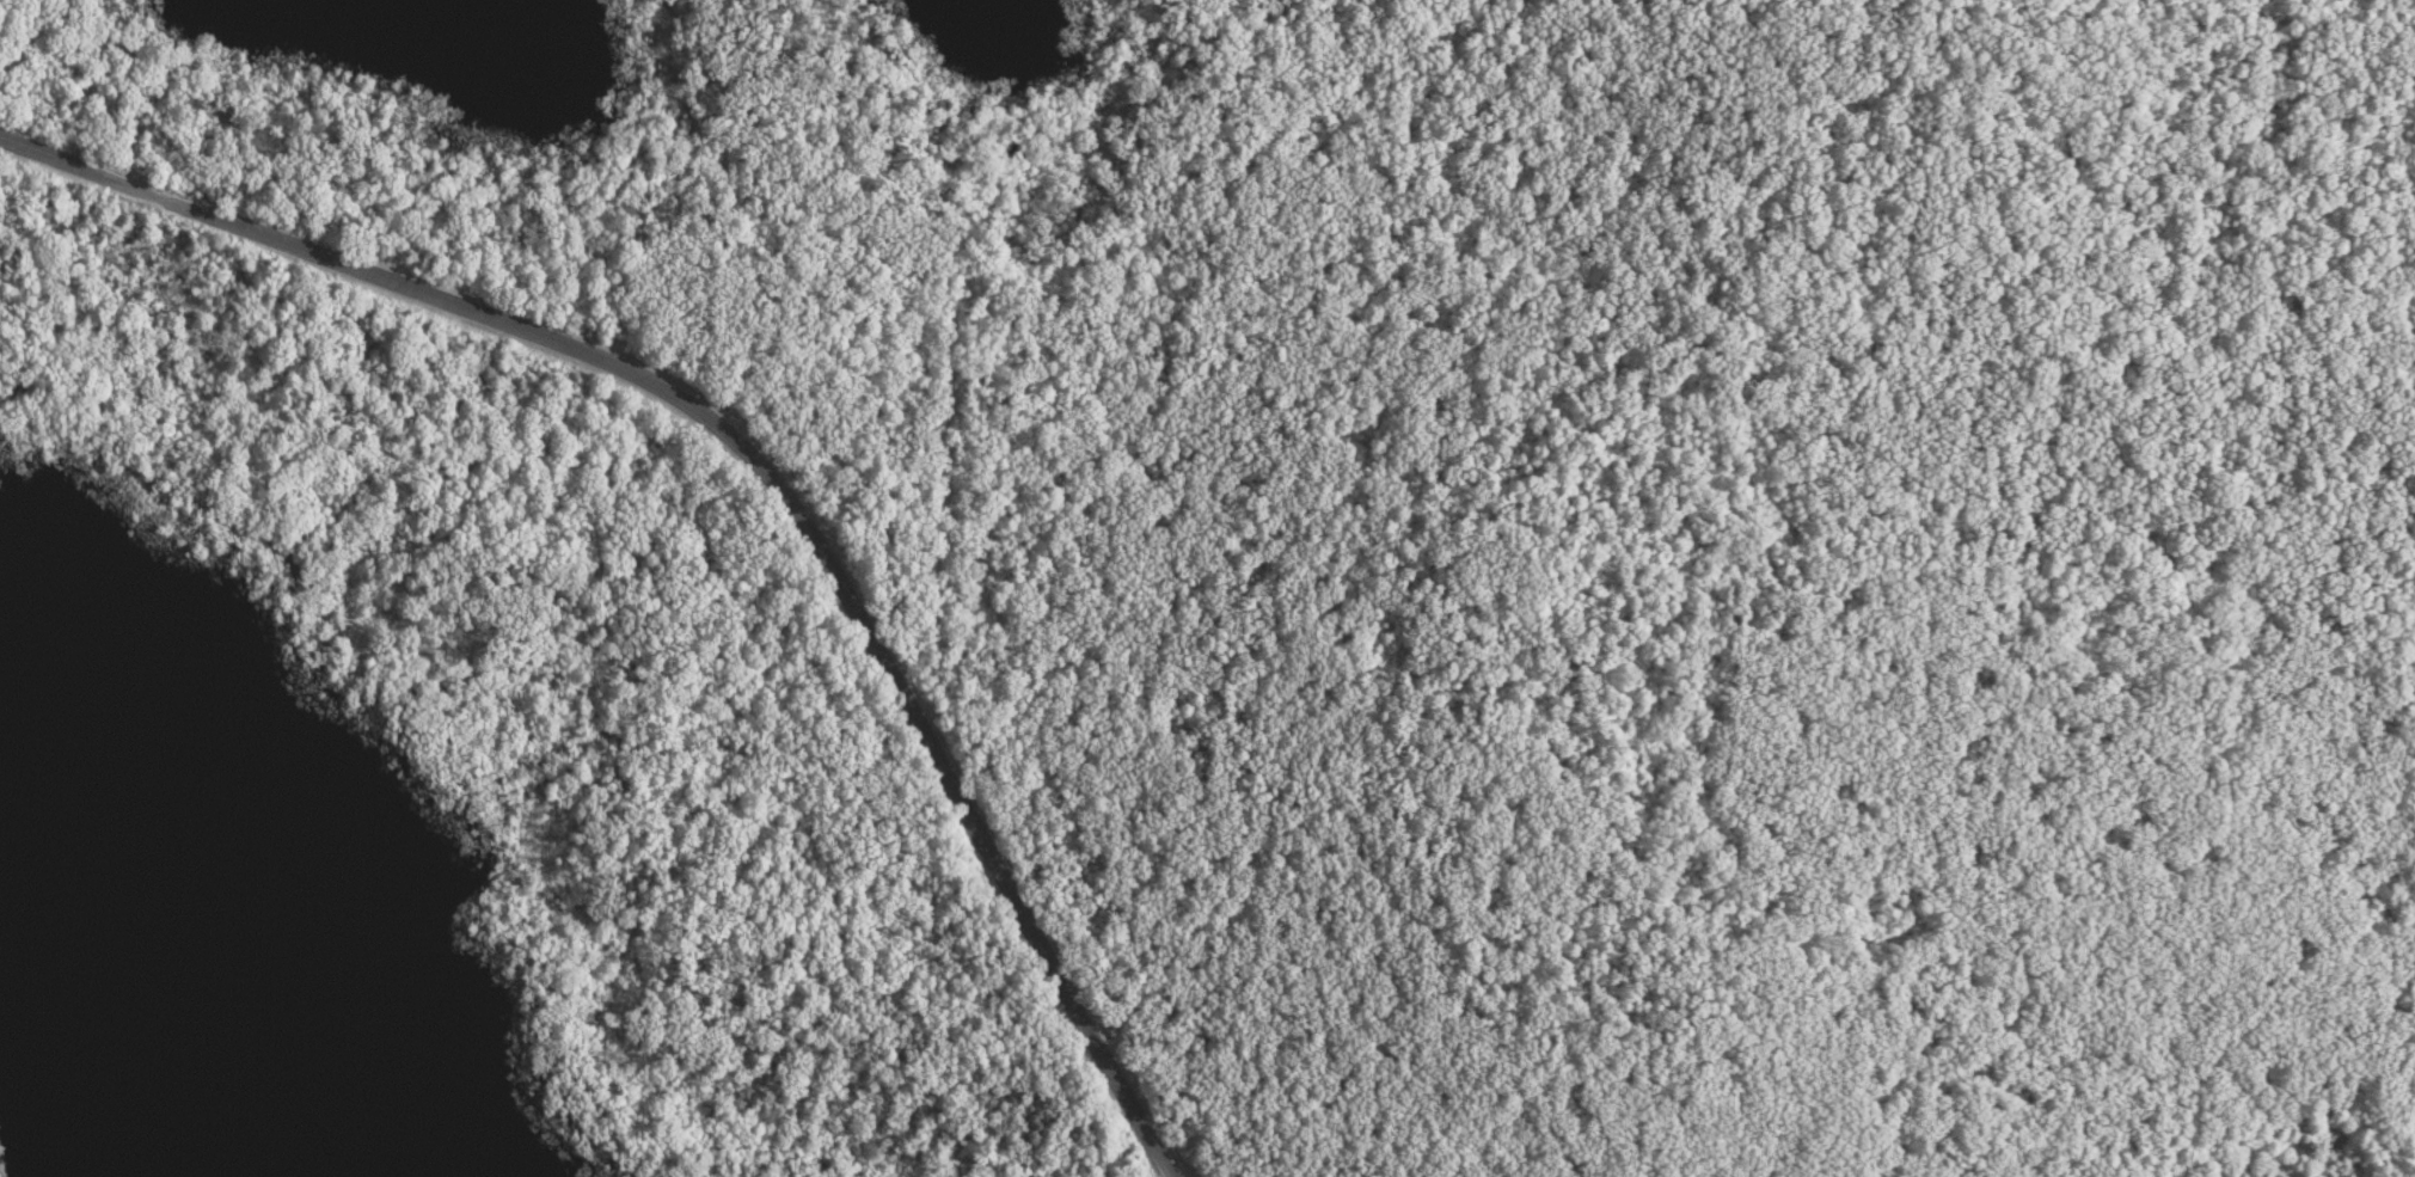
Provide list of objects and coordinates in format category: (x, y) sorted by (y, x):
road: (1942, 10)
road: (954, 351)
road: (755, 460)

